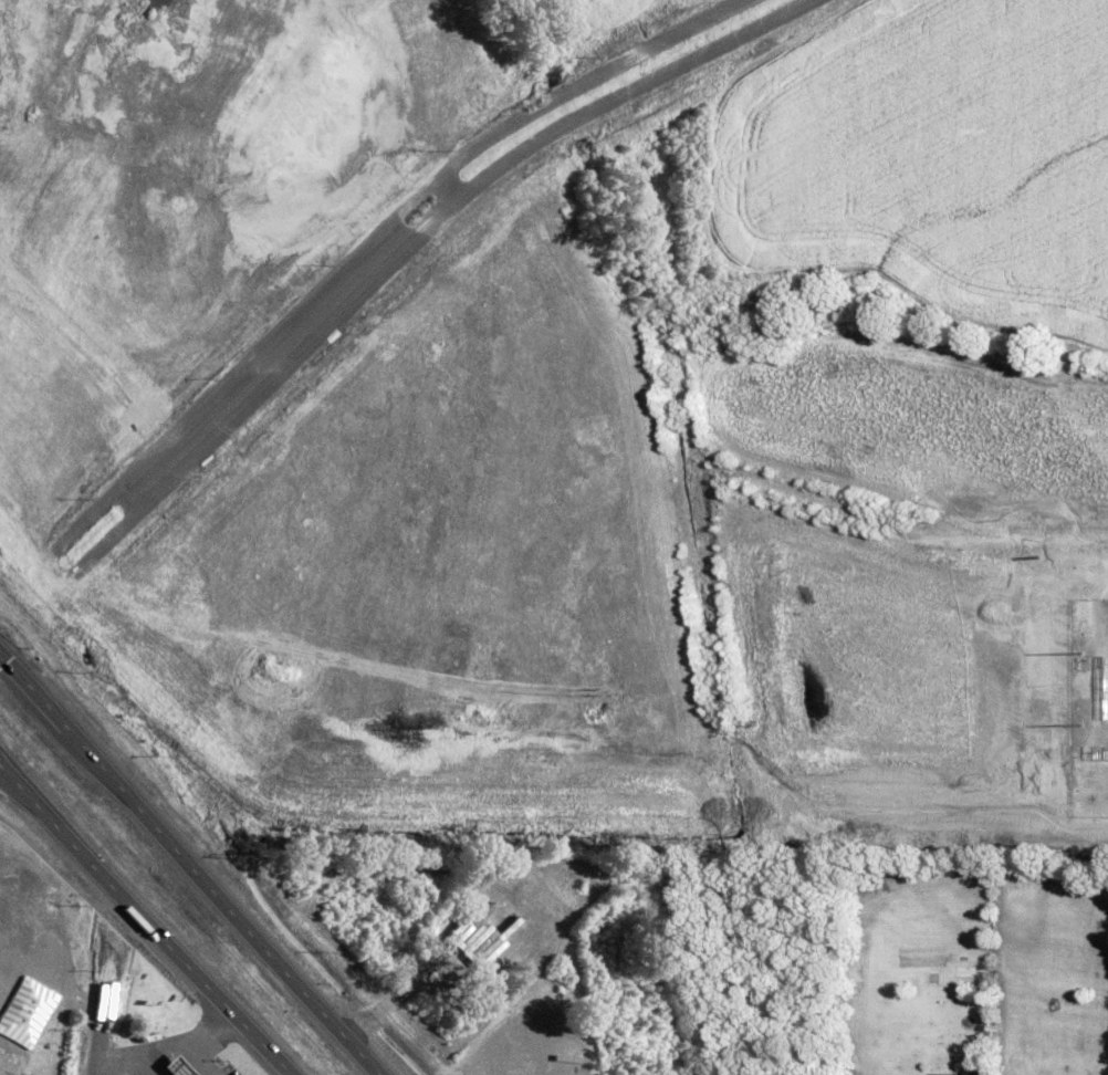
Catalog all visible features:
power substation: (1087, 707)
road: (73, 734)
road: (12, 785)
road: (22, 786)
road: (167, 944)
road: (264, 946)
road: (50, 984)
road: (100, 1022)
road: (186, 1036)
road: (198, 1057)
road: (125, 1064)
building: (176, 1065)
gas station: (176, 1065)
building: (965, 1068)

